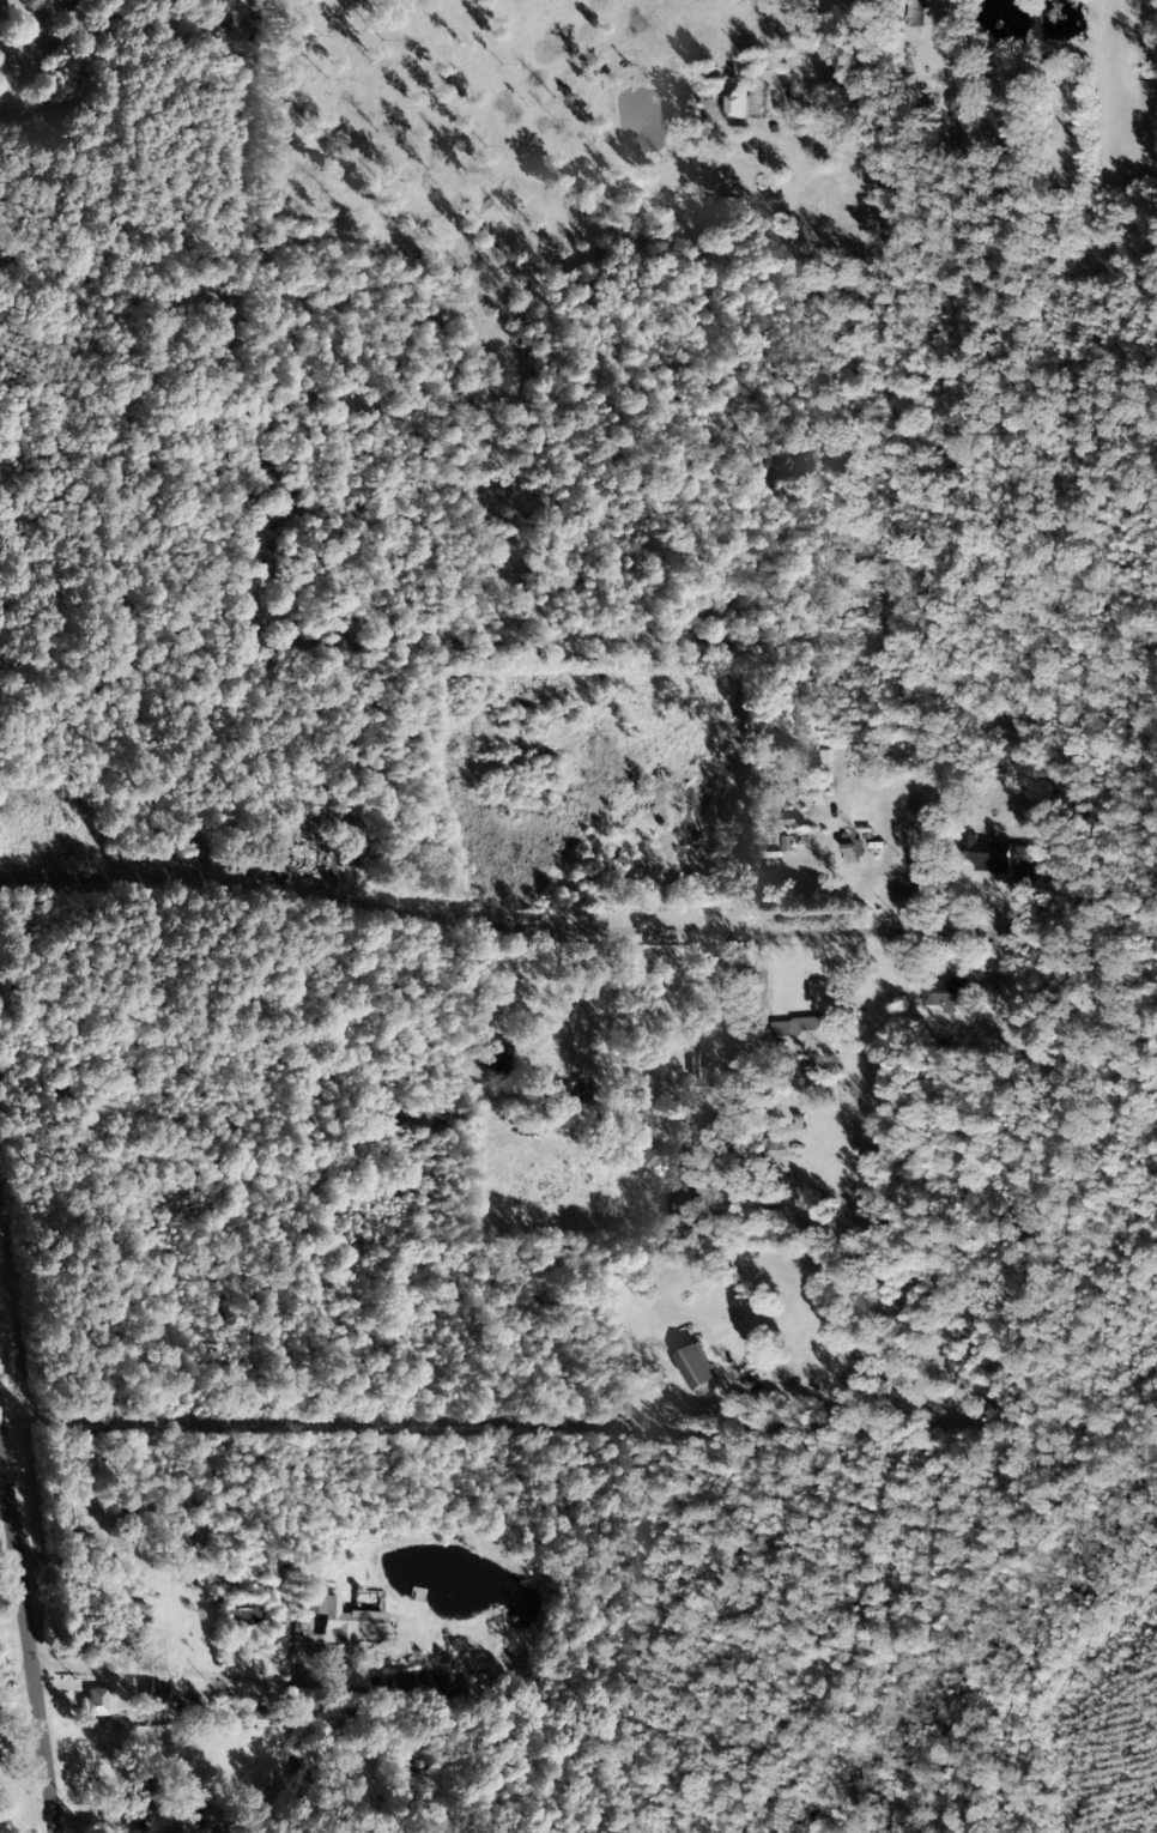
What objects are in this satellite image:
building: (740, 105)
building: (788, 842)
building: (988, 854)
building: (1022, 854)
road: (504, 922)
building: (945, 991)
building: (808, 1030)
building: (499, 1059)
building: (648, 1155)
building: (697, 1367)
road: (320, 1414)
building: (243, 1609)
building: (340, 1619)
road: (23, 1626)
road: (120, 1663)
building: (417, 1687)
building: (155, 1693)
building: (98, 1701)
building: (258, 1713)
building: (206, 1817)

